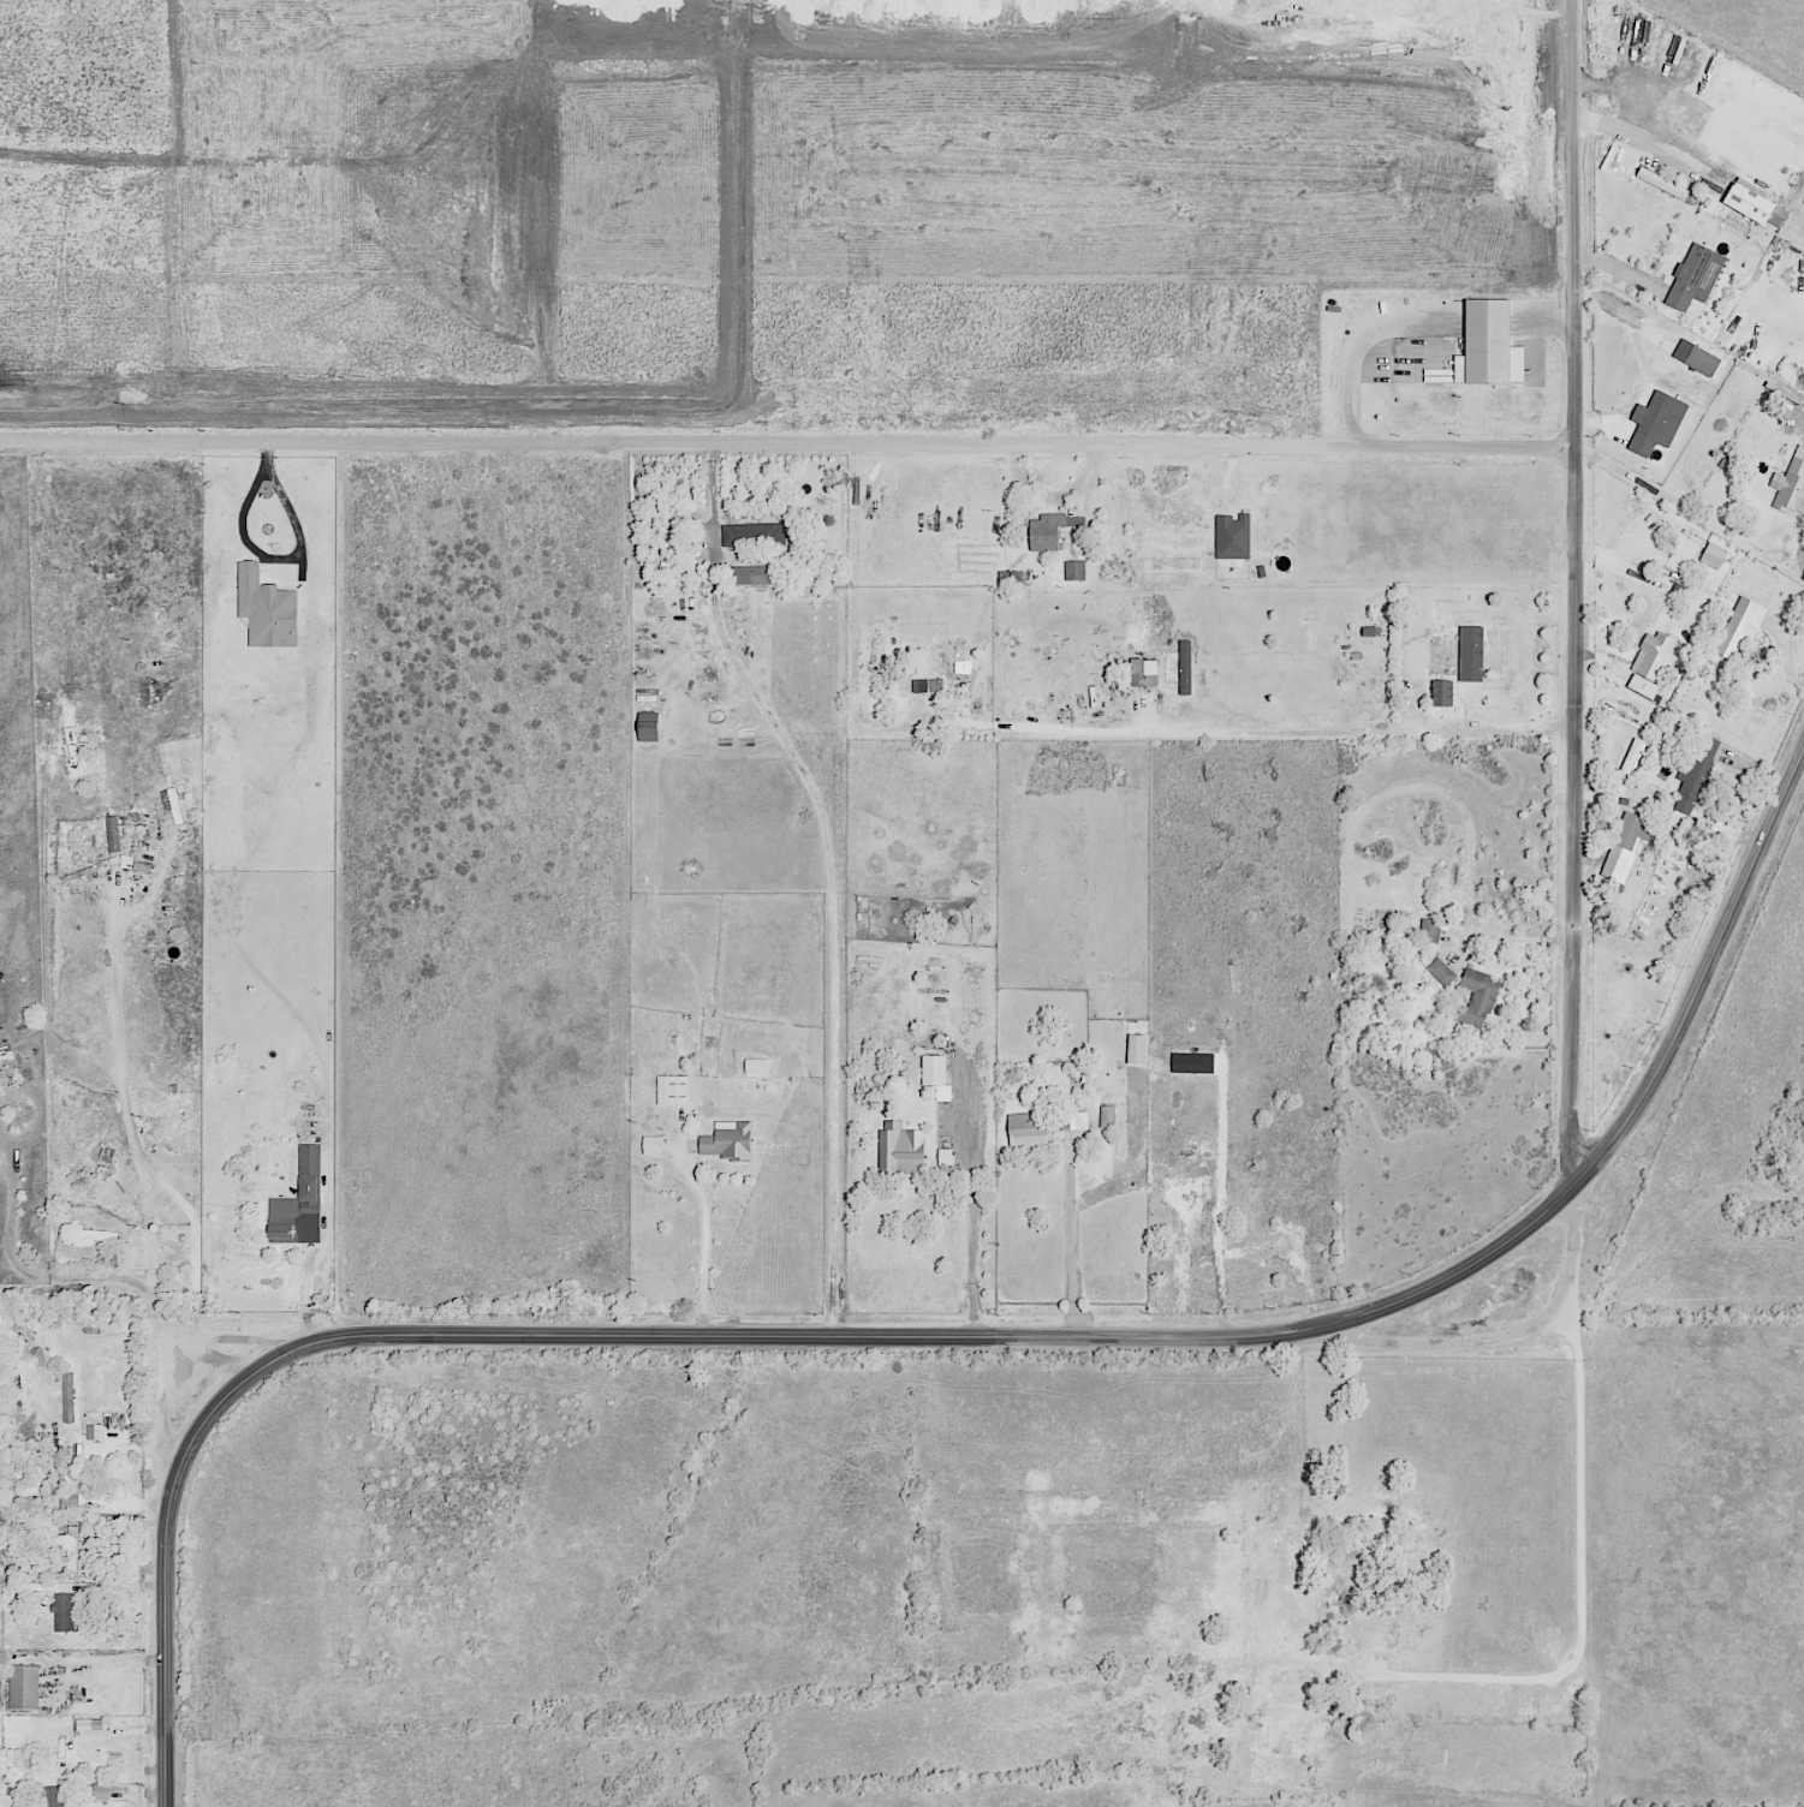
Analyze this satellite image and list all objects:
road: (1175, 7)
road: (736, 8)
road: (1613, 129)
building: (1754, 204)
building: (1695, 278)
road: (1555, 312)
road: (1347, 345)
building: (1488, 346)
building: (1431, 381)
building: (1655, 424)
road: (788, 451)
building: (1791, 487)
building: (1046, 532)
building: (754, 536)
building: (1232, 537)
building: (1713, 556)
road: (1799, 565)
building: (1073, 571)
building: (750, 576)
road: (853, 590)
road: (1574, 597)
building: (267, 609)
building: (1738, 627)
road: (724, 639)
building: (1651, 666)
building: (1184, 668)
building: (1143, 673)
building: (928, 686)
building: (1441, 693)
road: (898, 727)
building: (648, 732)
building: (1627, 765)
building: (1692, 782)
building: (174, 806)
building: (113, 834)
building: (1625, 847)
building: (1429, 931)
road: (1513, 940)
building: (1441, 972)
building: (1477, 1000)
building: (1136, 1049)
building: (6, 1058)
building: (755, 1067)
building: (935, 1075)
road: (120, 1077)
building: (672, 1091)
building: (1106, 1117)
building: (1072, 1122)
building: (1026, 1131)
road: (1779, 1137)
building: (727, 1141)
building: (650, 1145)
building: (900, 1150)
building: (945, 1157)
building: (101, 1173)
road: (1779, 1191)
building: (298, 1205)
road: (971, 1228)
road: (1574, 1238)
road: (703, 1239)
road: (1071, 1251)
road: (130, 1280)
road: (234, 1328)
road: (948, 1338)
building: (69, 1399)
building: (95, 1432)
road: (1079, 1457)
road: (439, 1459)
road: (1750, 1481)
building: (67, 1489)
road: (1576, 1504)
building: (72, 1550)
building: (1416, 1555)
building: (1341, 1569)
road: (529, 1575)
road: (1056, 1576)
building: (64, 1612)
road: (810, 1630)
road: (291, 1648)
building: (1340, 1652)
building: (1223, 1654)
building: (24, 1688)
building: (90, 1725)
building: (1287, 1739)
building: (100, 1791)
building: (52, 1796)

